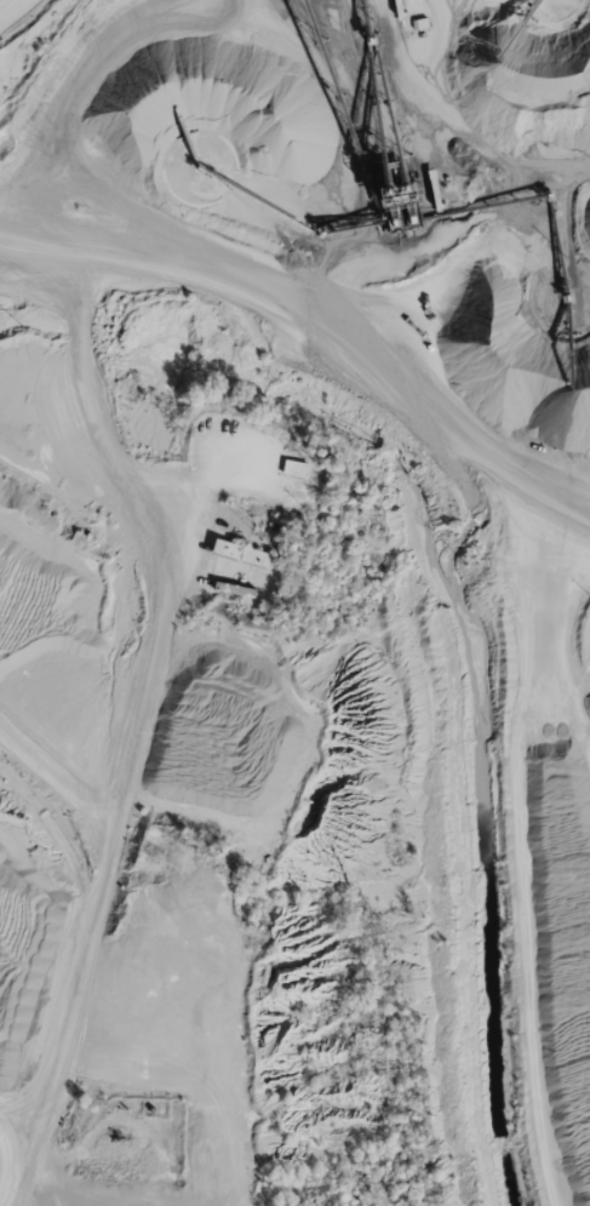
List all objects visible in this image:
road: (290, 349)
building: (304, 469)
quarry: (293, 594)
road: (121, 724)

